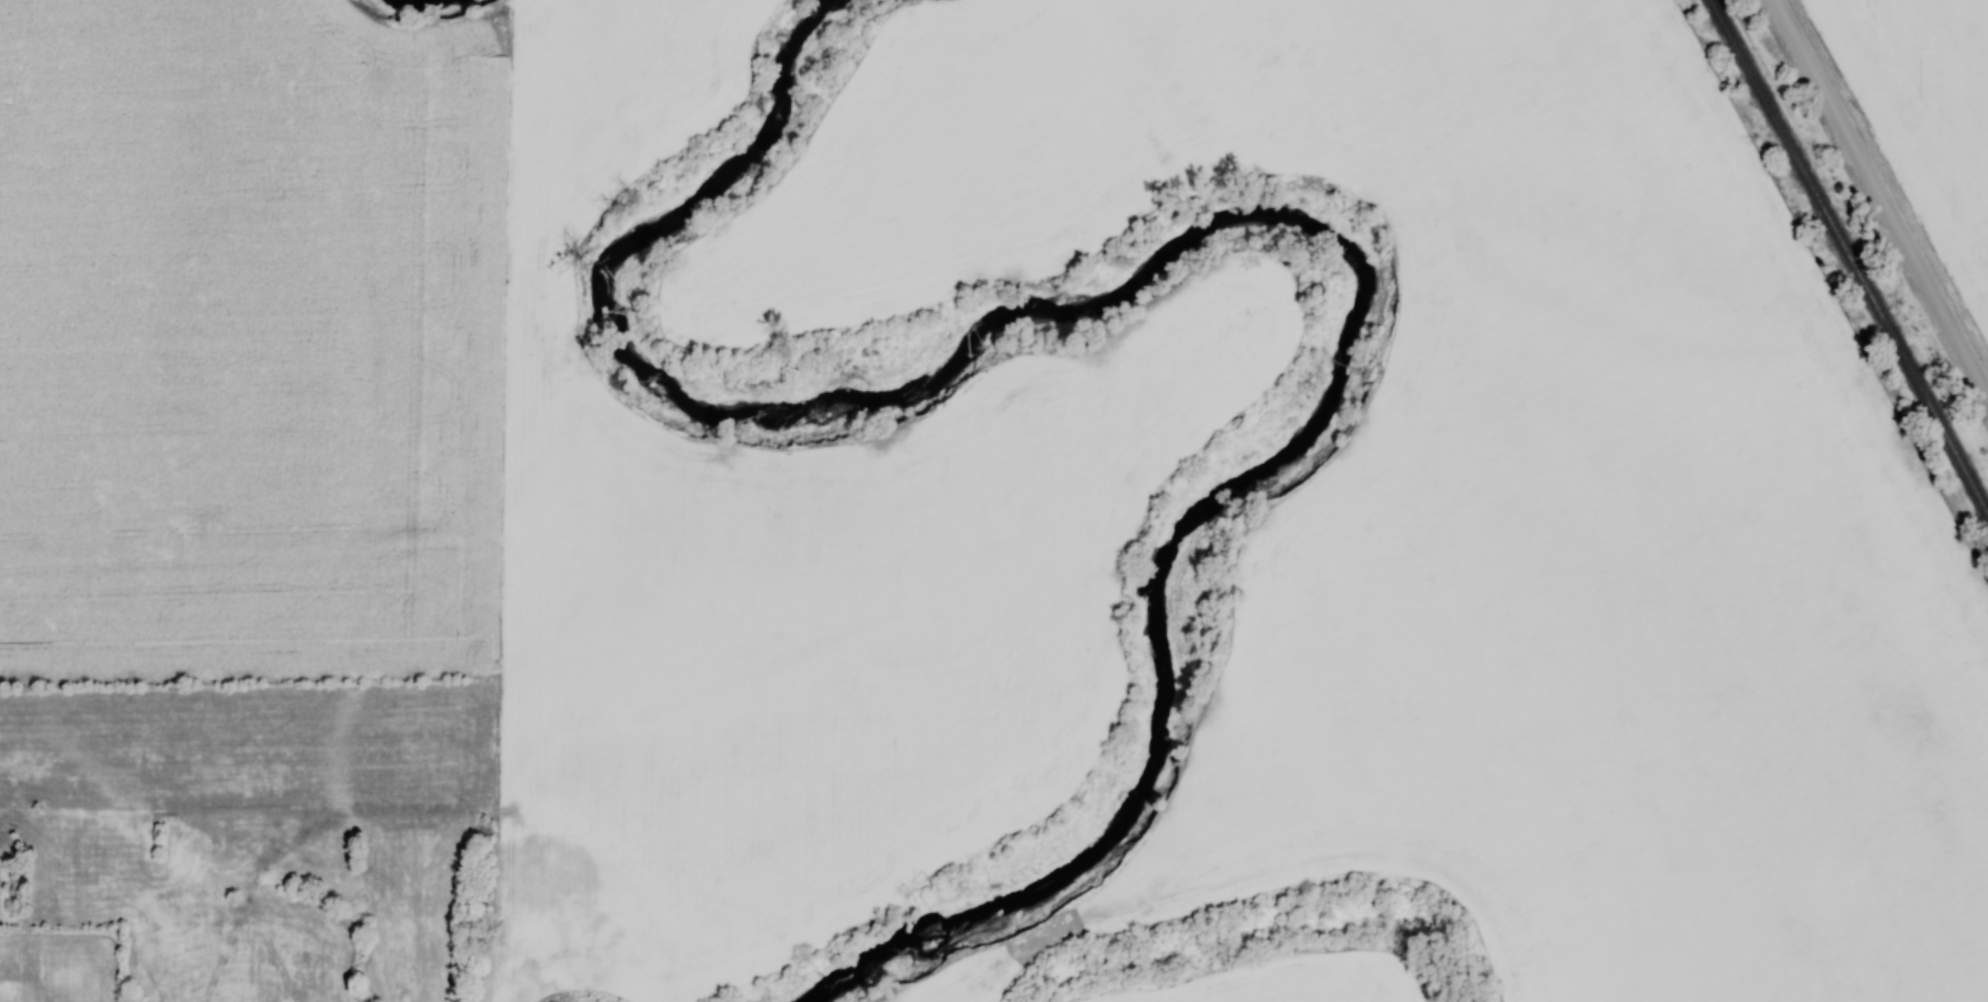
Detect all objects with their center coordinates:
river: (418, 2)
road: (1879, 203)
river: (1229, 224)
railway: (1849, 256)

